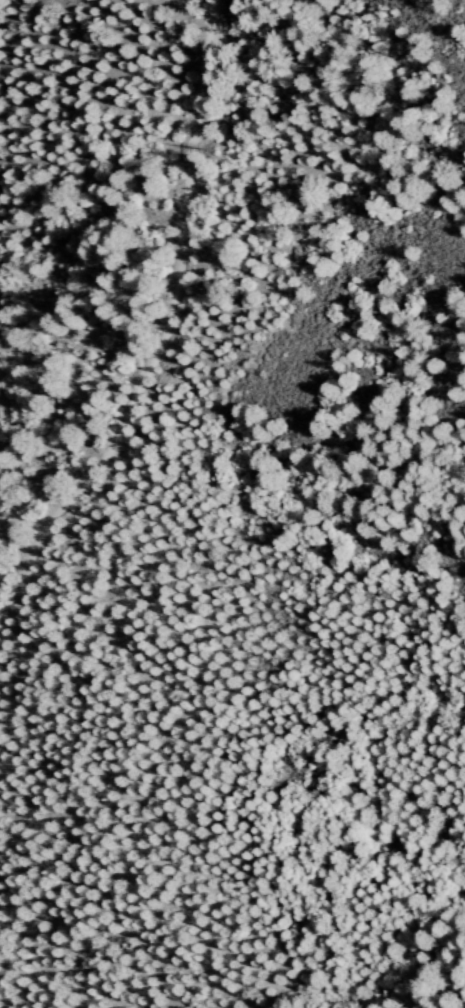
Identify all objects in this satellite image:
road: (161, 334)

